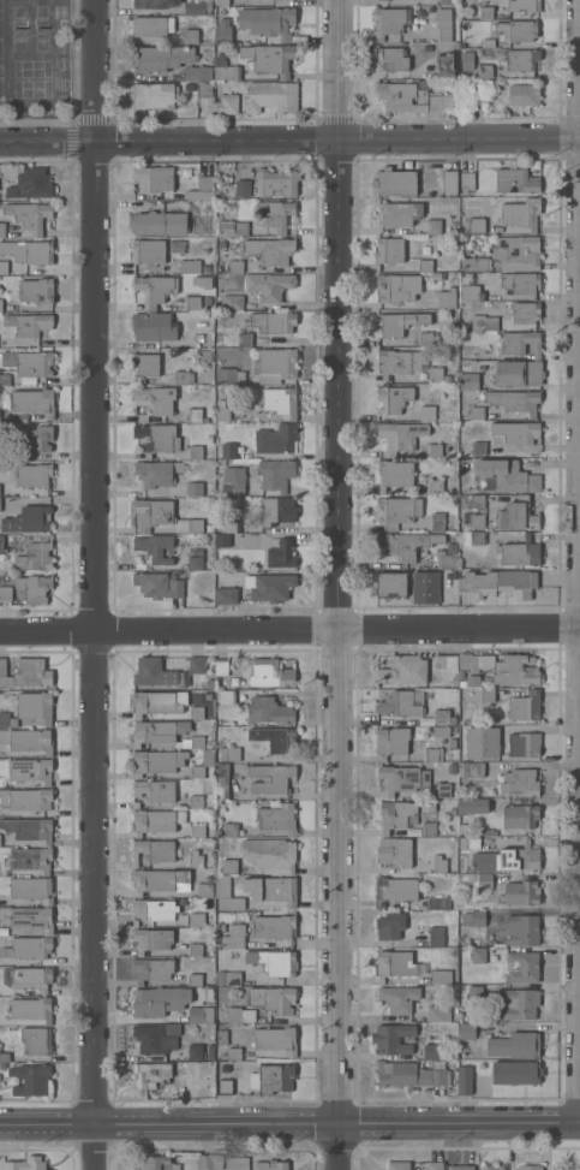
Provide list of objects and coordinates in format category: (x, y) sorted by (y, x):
building: (382, 0)
building: (448, 1)
building: (222, 2)
building: (154, 4)
building: (524, 5)
building: (193, 6)
building: (222, 8)
building: (485, 12)
building: (389, 20)
building: (267, 22)
building: (443, 24)
building: (151, 26)
building: (223, 30)
building: (522, 30)
building: (190, 36)
building: (488, 43)
building: (161, 58)
building: (269, 58)
building: (394, 59)
building: (521, 59)
building: (467, 60)
building: (444, 65)
building: (225, 69)
building: (485, 71)
building: (197, 72)
building: (204, 90)
building: (524, 95)
building: (153, 96)
building: (270, 96)
building: (476, 97)
building: (409, 99)
building: (227, 103)
road: (289, 141)
building: (154, 178)
building: (466, 180)
building: (515, 180)
building: (395, 182)
building: (449, 182)
building: (275, 183)
building: (31, 184)
building: (205, 184)
building: (243, 188)
building: (204, 208)
building: (521, 213)
building: (275, 214)
building: (396, 214)
building: (29, 215)
building: (446, 216)
building: (159, 222)
building: (476, 226)
building: (232, 227)
building: (433, 227)
building: (1, 230)
building: (177, 247)
building: (389, 250)
building: (30, 251)
building: (148, 251)
building: (276, 251)
building: (518, 253)
building: (251, 263)
building: (473, 263)
building: (234, 266)
building: (425, 266)
building: (4, 267)
building: (190, 267)
building: (205, 269)
building: (437, 275)
building: (202, 281)
building: (520, 283)
building: (269, 286)
building: (396, 287)
building: (154, 290)
building: (37, 291)
building: (483, 293)
building: (447, 298)
building: (191, 303)
building: (208, 303)
building: (233, 303)
building: (1, 305)
building: (525, 313)
building: (273, 322)
building: (399, 322)
building: (484, 322)
building: (28, 323)
building: (153, 326)
building: (198, 338)
building: (244, 339)
building: (427, 339)
building: (520, 344)
building: (203, 356)
building: (397, 362)
building: (34, 363)
building: (145, 364)
building: (276, 364)
building: (518, 374)
building: (437, 375)
building: (228, 376)
building: (183, 378)
building: (4, 379)
building: (468, 381)
building: (155, 399)
building: (393, 399)
building: (280, 400)
building: (514, 400)
building: (34, 402)
building: (220, 403)
building: (429, 412)
building: (474, 412)
building: (222, 414)
building: (195, 415)
building: (143, 417)
building: (514, 432)
building: (400, 435)
building: (34, 439)
building: (156, 439)
building: (276, 439)
building: (478, 446)
building: (432, 450)
building: (228, 451)
building: (195, 452)
building: (157, 471)
building: (275, 474)
building: (394, 474)
building: (31, 475)
building: (506, 476)
building: (234, 480)
building: (435, 486)
building: (193, 488)
building: (477, 500)
building: (277, 511)
building: (396, 511)
building: (162, 516)
building: (514, 517)
building: (36, 518)
building: (436, 521)
building: (477, 521)
building: (231, 524)
building: (209, 528)
building: (477, 538)
building: (222, 540)
building: (406, 544)
building: (1, 545)
building: (155, 548)
building: (519, 552)
building: (281, 554)
building: (35, 557)
building: (446, 558)
building: (195, 563)
building: (452, 578)
building: (498, 583)
road: (91, 584)
road: (335, 584)
building: (390, 584)
building: (157, 586)
building: (271, 587)
building: (425, 587)
building: (34, 588)
building: (5, 594)
building: (226, 595)
road: (289, 628)
building: (447, 663)
building: (196, 664)
building: (221, 667)
building: (502, 669)
building: (403, 670)
building: (153, 672)
building: (26, 673)
building: (270, 673)
building: (470, 681)
building: (486, 694)
building: (226, 696)
building: (157, 702)
building: (402, 703)
building: (34, 707)
building: (524, 707)
building: (268, 711)
building: (196, 712)
building: (443, 717)
building: (4, 719)
building: (441, 731)
building: (163, 734)
building: (483, 734)
building: (4, 736)
building: (31, 741)
building: (281, 741)
building: (391, 742)
building: (452, 743)
building: (521, 746)
building: (229, 754)
building: (432, 754)
building: (157, 761)
building: (203, 764)
building: (470, 768)
building: (31, 770)
building: (270, 778)
building: (403, 778)
building: (221, 782)
building: (520, 783)
building: (443, 790)
building: (154, 791)
building: (26, 798)
building: (195, 802)
building: (134, 804)
building: (426, 806)
building: (472, 806)
building: (395, 814)
building: (519, 816)
building: (276, 819)
building: (153, 821)
building: (427, 828)
building: (29, 830)
building: (231, 830)
building: (197, 831)
building: (484, 832)
building: (472, 843)
building: (153, 851)
building: (394, 851)
building: (269, 853)
building: (30, 859)
building: (507, 859)
building: (196, 861)
building: (438, 865)
building: (228, 867)
building: (484, 879)
building: (161, 880)
building: (31, 889)
building: (276, 889)
building: (204, 890)
building: (394, 890)
building: (521, 892)
building: (226, 895)
building: (437, 903)
building: (154, 909)
building: (28, 917)
building: (473, 917)
building: (196, 920)
building: (134, 923)
building: (389, 926)
building: (220, 927)
building: (274, 927)
building: (521, 931)
building: (435, 937)
building: (234, 938)
building: (151, 939)
building: (28, 948)
building: (196, 950)
building: (478, 955)
building: (277, 962)
building: (394, 964)
building: (521, 967)
building: (151, 969)
building: (441, 976)
building: (31, 978)
building: (232, 979)
building: (195, 980)
building: (474, 993)
building: (208, 994)
building: (399, 998)
building: (273, 999)
building: (159, 1000)
building: (520, 1004)
building: (31, 1009)
building: (438, 1012)
building: (201, 1014)
building: (239, 1015)
building: (467, 1032)
building: (156, 1038)
building: (221, 1038)
building: (391, 1039)
building: (36, 1040)
building: (275, 1040)
building: (514, 1045)
building: (430, 1051)
building: (195, 1052)
building: (233, 1053)
building: (5, 1057)
building: (2, 1065)
building: (516, 1073)
building: (150, 1075)
building: (408, 1075)
building: (271, 1079)
building: (30, 1080)
building: (464, 1081)
building: (223, 1087)
road: (289, 1123)
building: (209, 1162)
building: (159, 1163)
building: (237, 1163)
building: (26, 1164)
building: (270, 1165)
building: (397, 1165)
building: (435, 1165)
building: (492, 1166)
building: (460, 1168)
building: (531, 1168)
building: (561, 1168)

